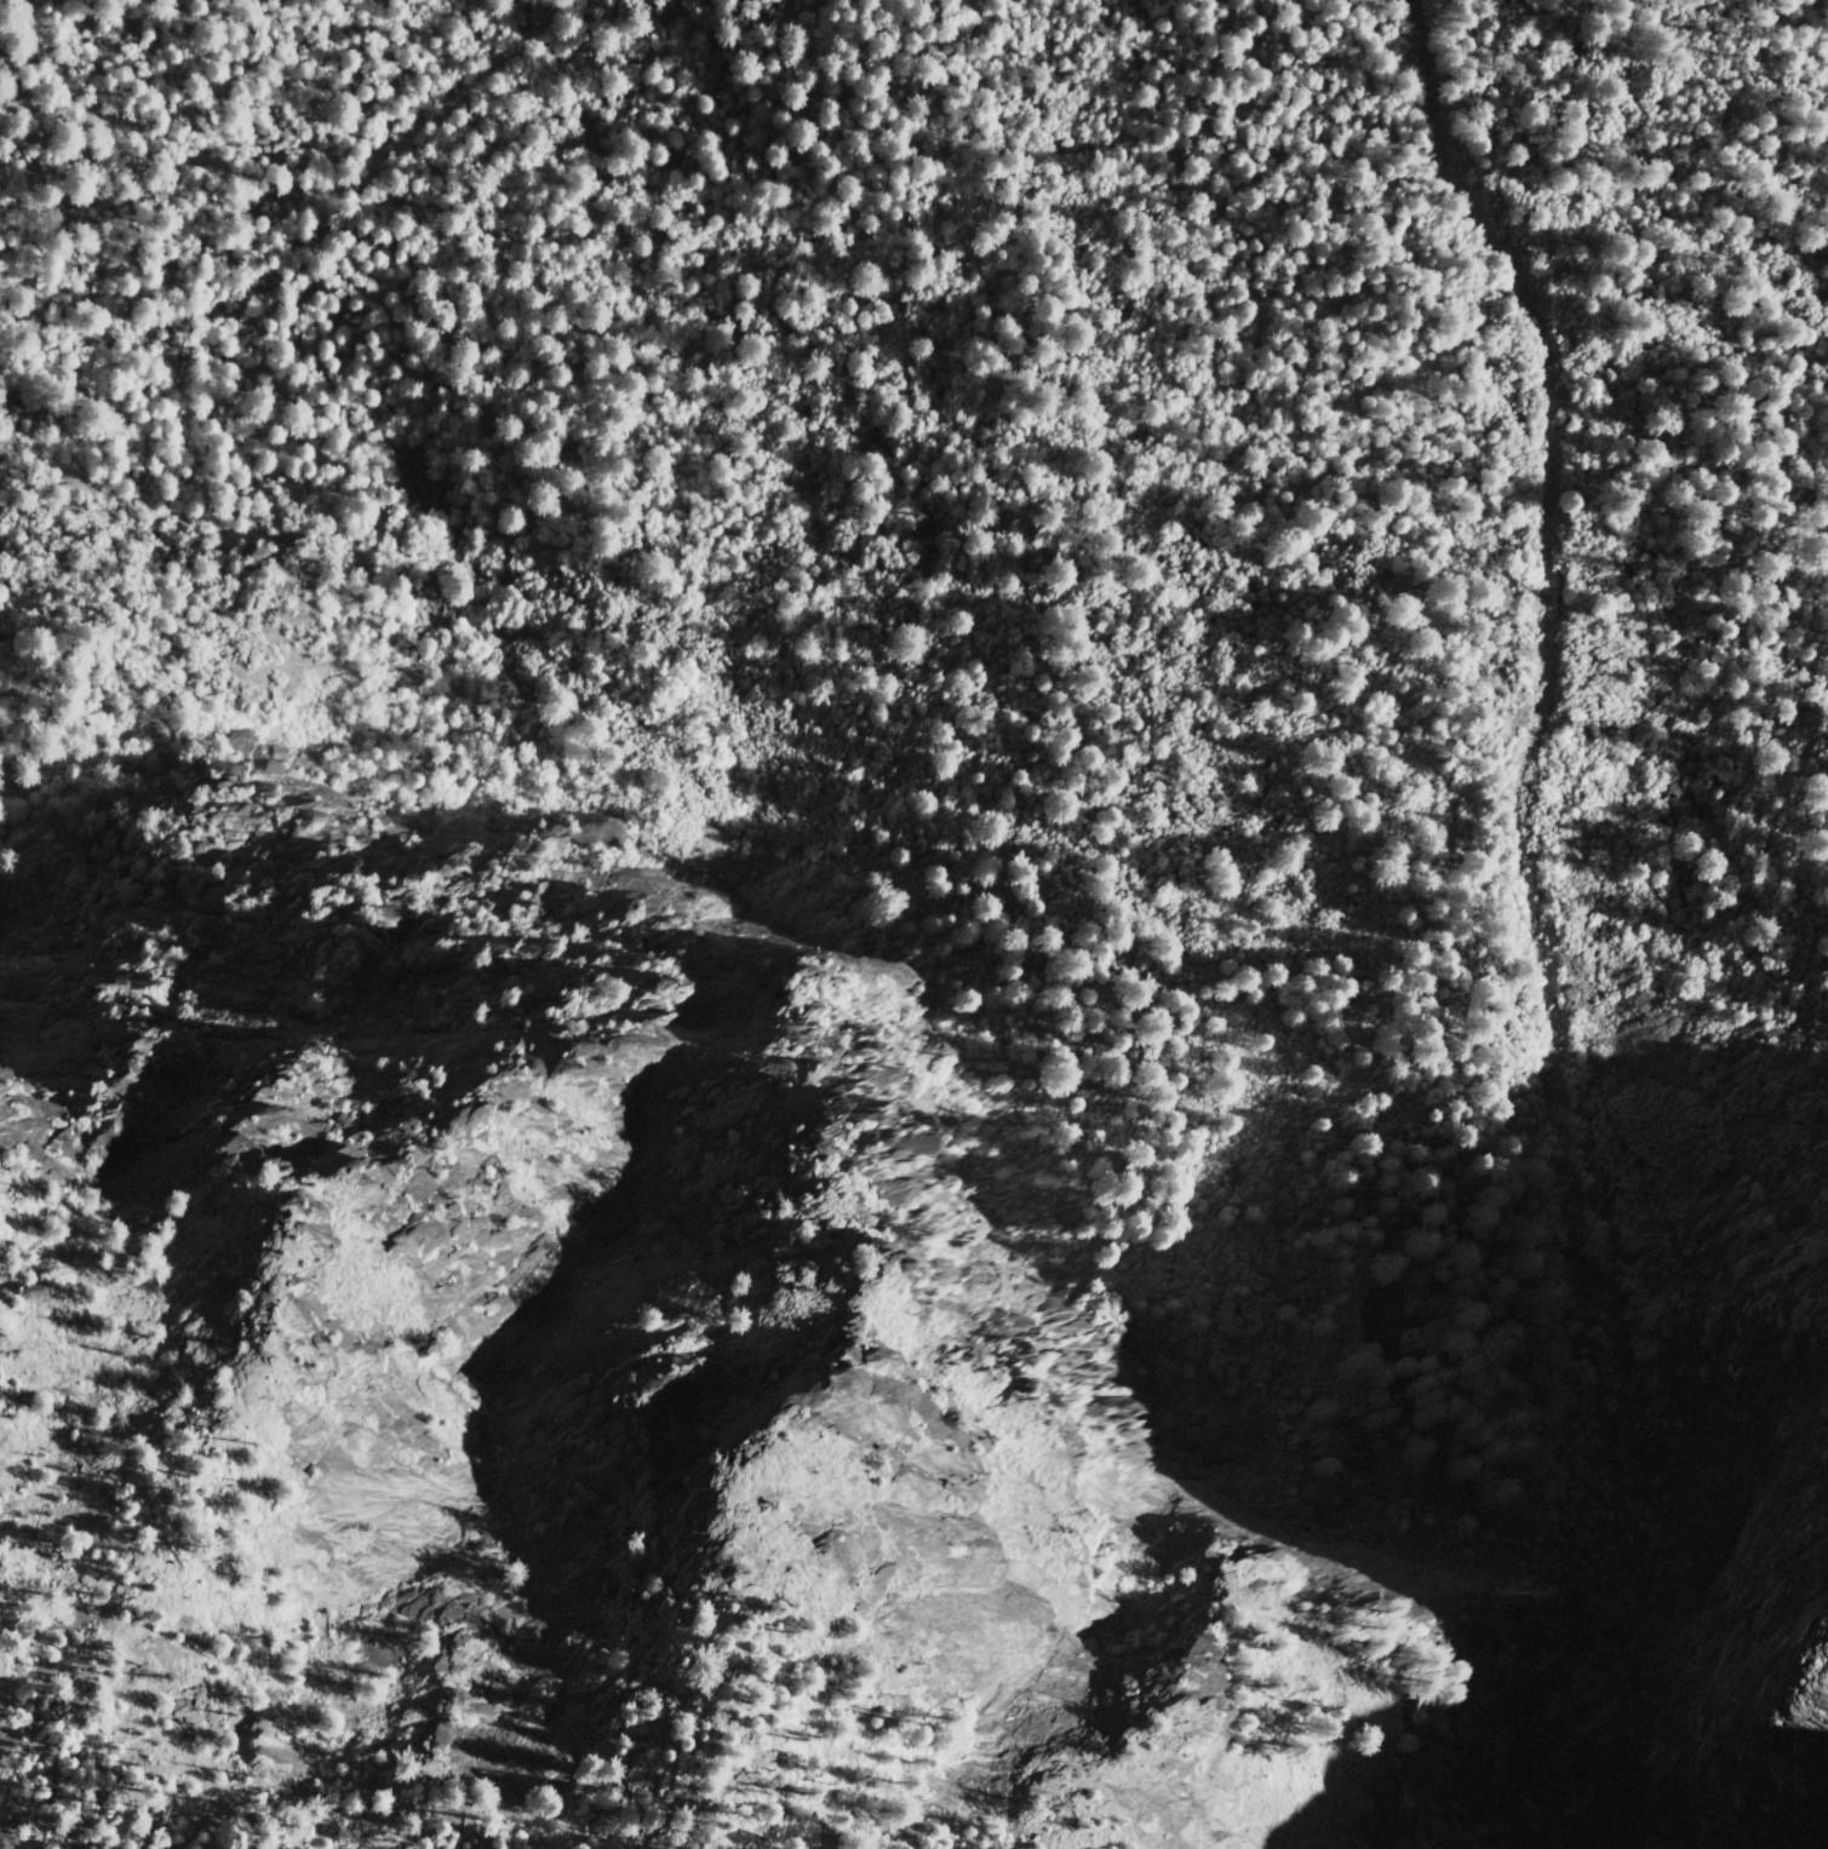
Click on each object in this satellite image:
road: (319, 205)

